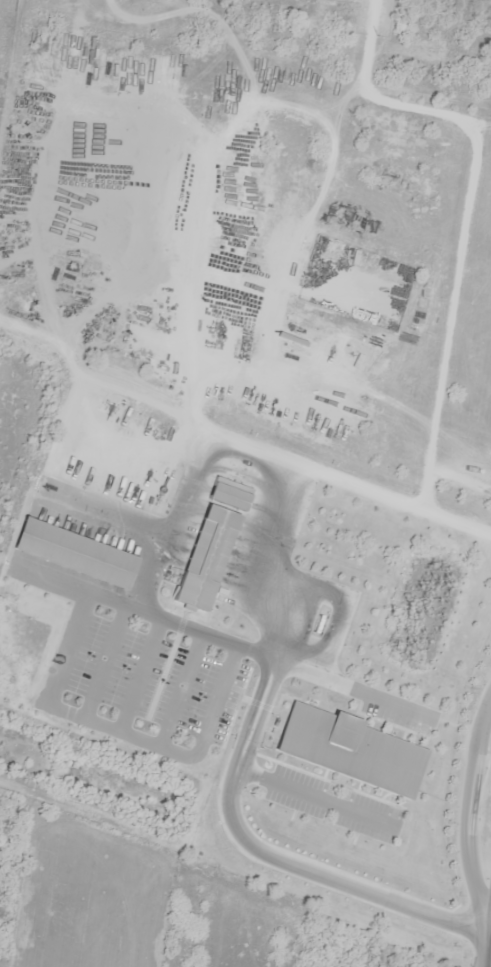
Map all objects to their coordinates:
road: (260, 451)
road: (103, 518)
building: (208, 558)
road: (265, 561)
road: (143, 609)
building: (317, 628)
road: (105, 660)
road: (141, 673)
road: (181, 688)
road: (121, 730)
building: (350, 750)
road: (225, 793)
road: (468, 806)
road: (488, 946)

